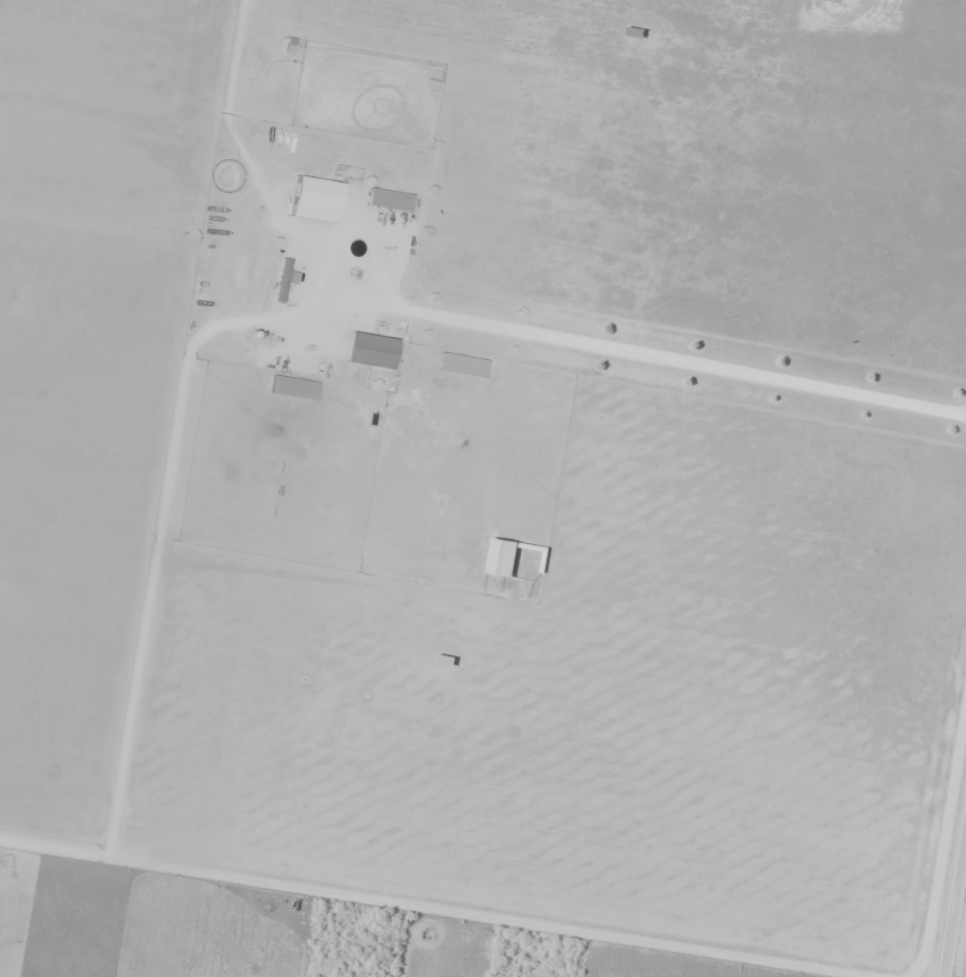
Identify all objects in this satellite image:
road: (952, 888)

